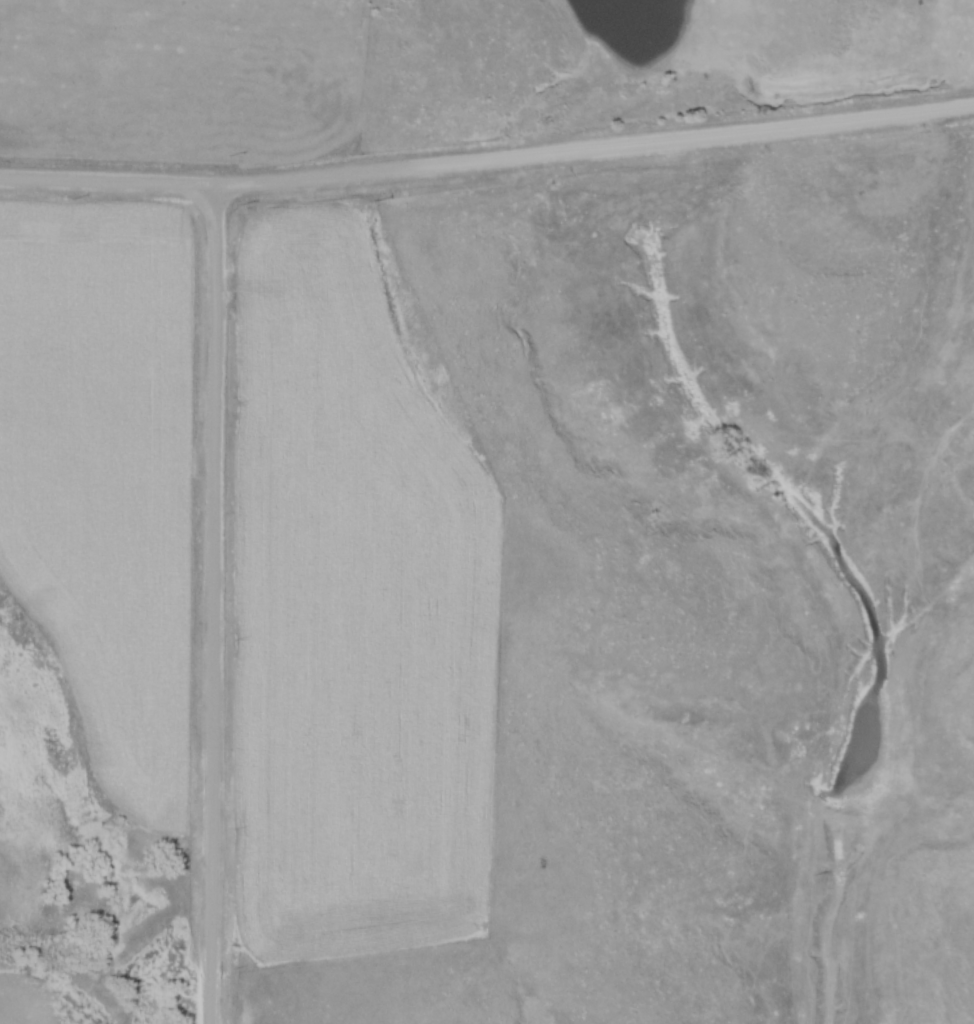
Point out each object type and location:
road: (596, 152)
road: (108, 183)
road: (213, 605)
crop: (7, 1001)

